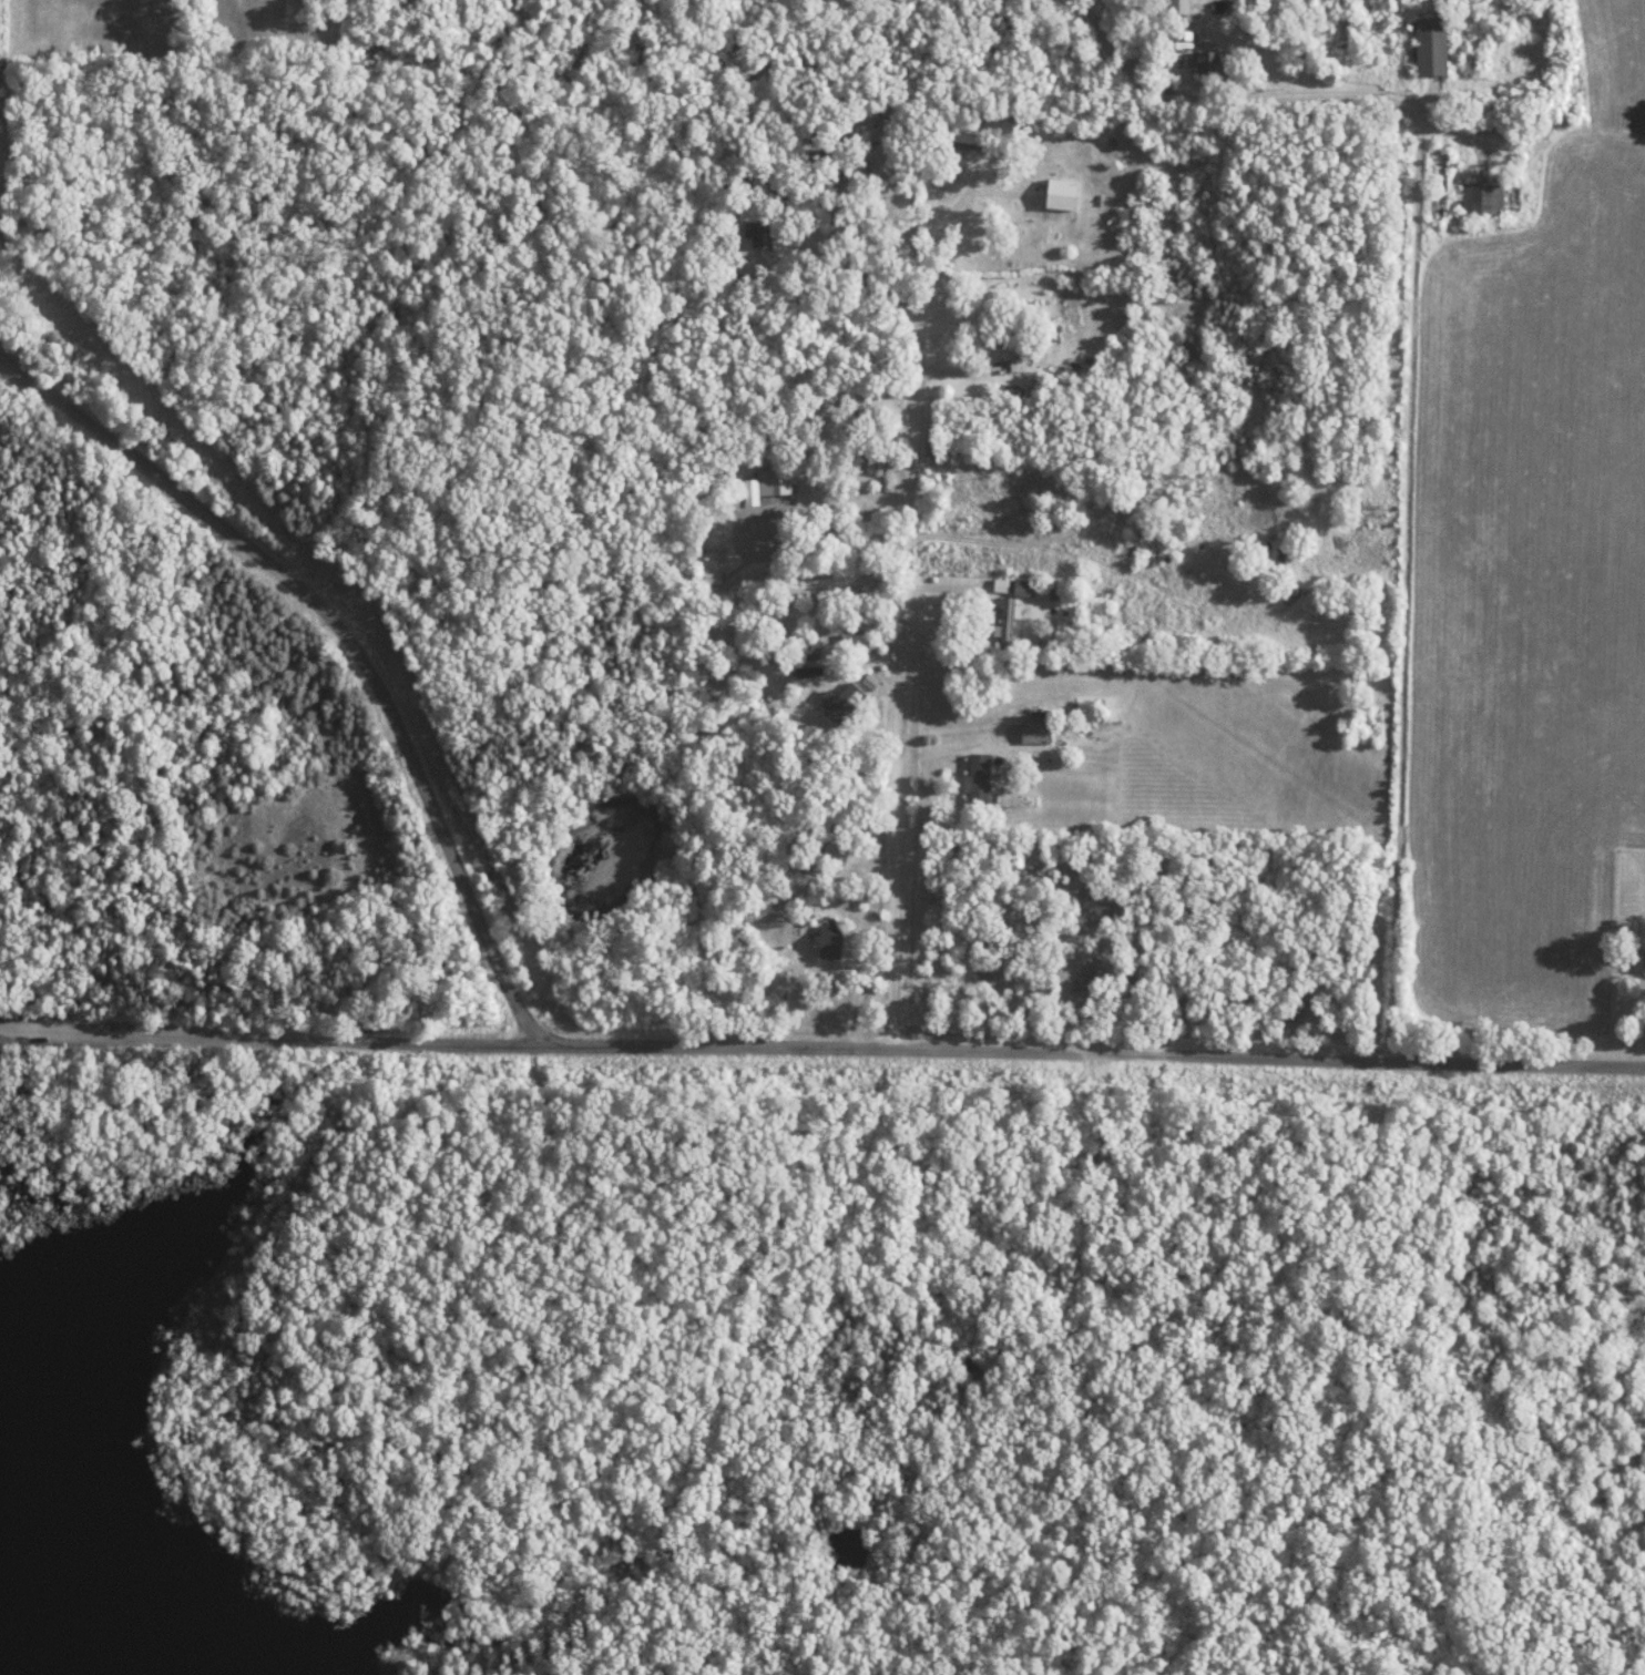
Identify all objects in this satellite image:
building: (1437, 50)
building: (1210, 63)
building: (892, 110)
building: (1440, 165)
road: (971, 178)
building: (1064, 195)
building: (1484, 198)
building: (765, 234)
road: (1410, 392)
building: (776, 483)
building: (750, 539)
building: (1144, 545)
building: (714, 576)
building: (1025, 588)
building: (1009, 625)
building: (813, 648)
road: (901, 682)
building: (1038, 727)
building: (980, 780)
building: (837, 854)
building: (832, 942)
building: (1644, 963)
road: (272, 1043)
road: (641, 1050)

